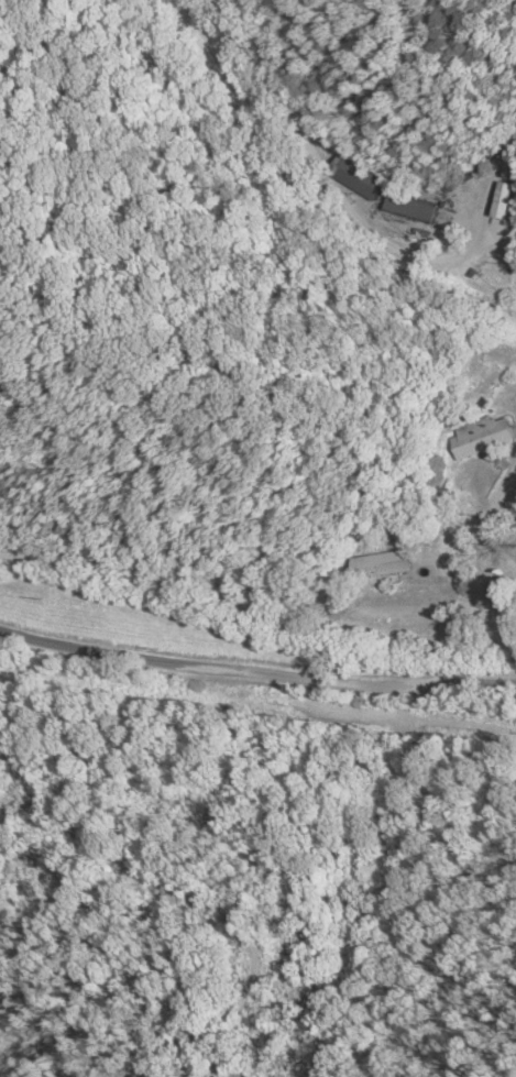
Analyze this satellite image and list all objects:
building: (360, 176)
building: (506, 199)
building: (414, 208)
road: (391, 252)
building: (480, 436)
building: (381, 563)
road: (255, 670)

